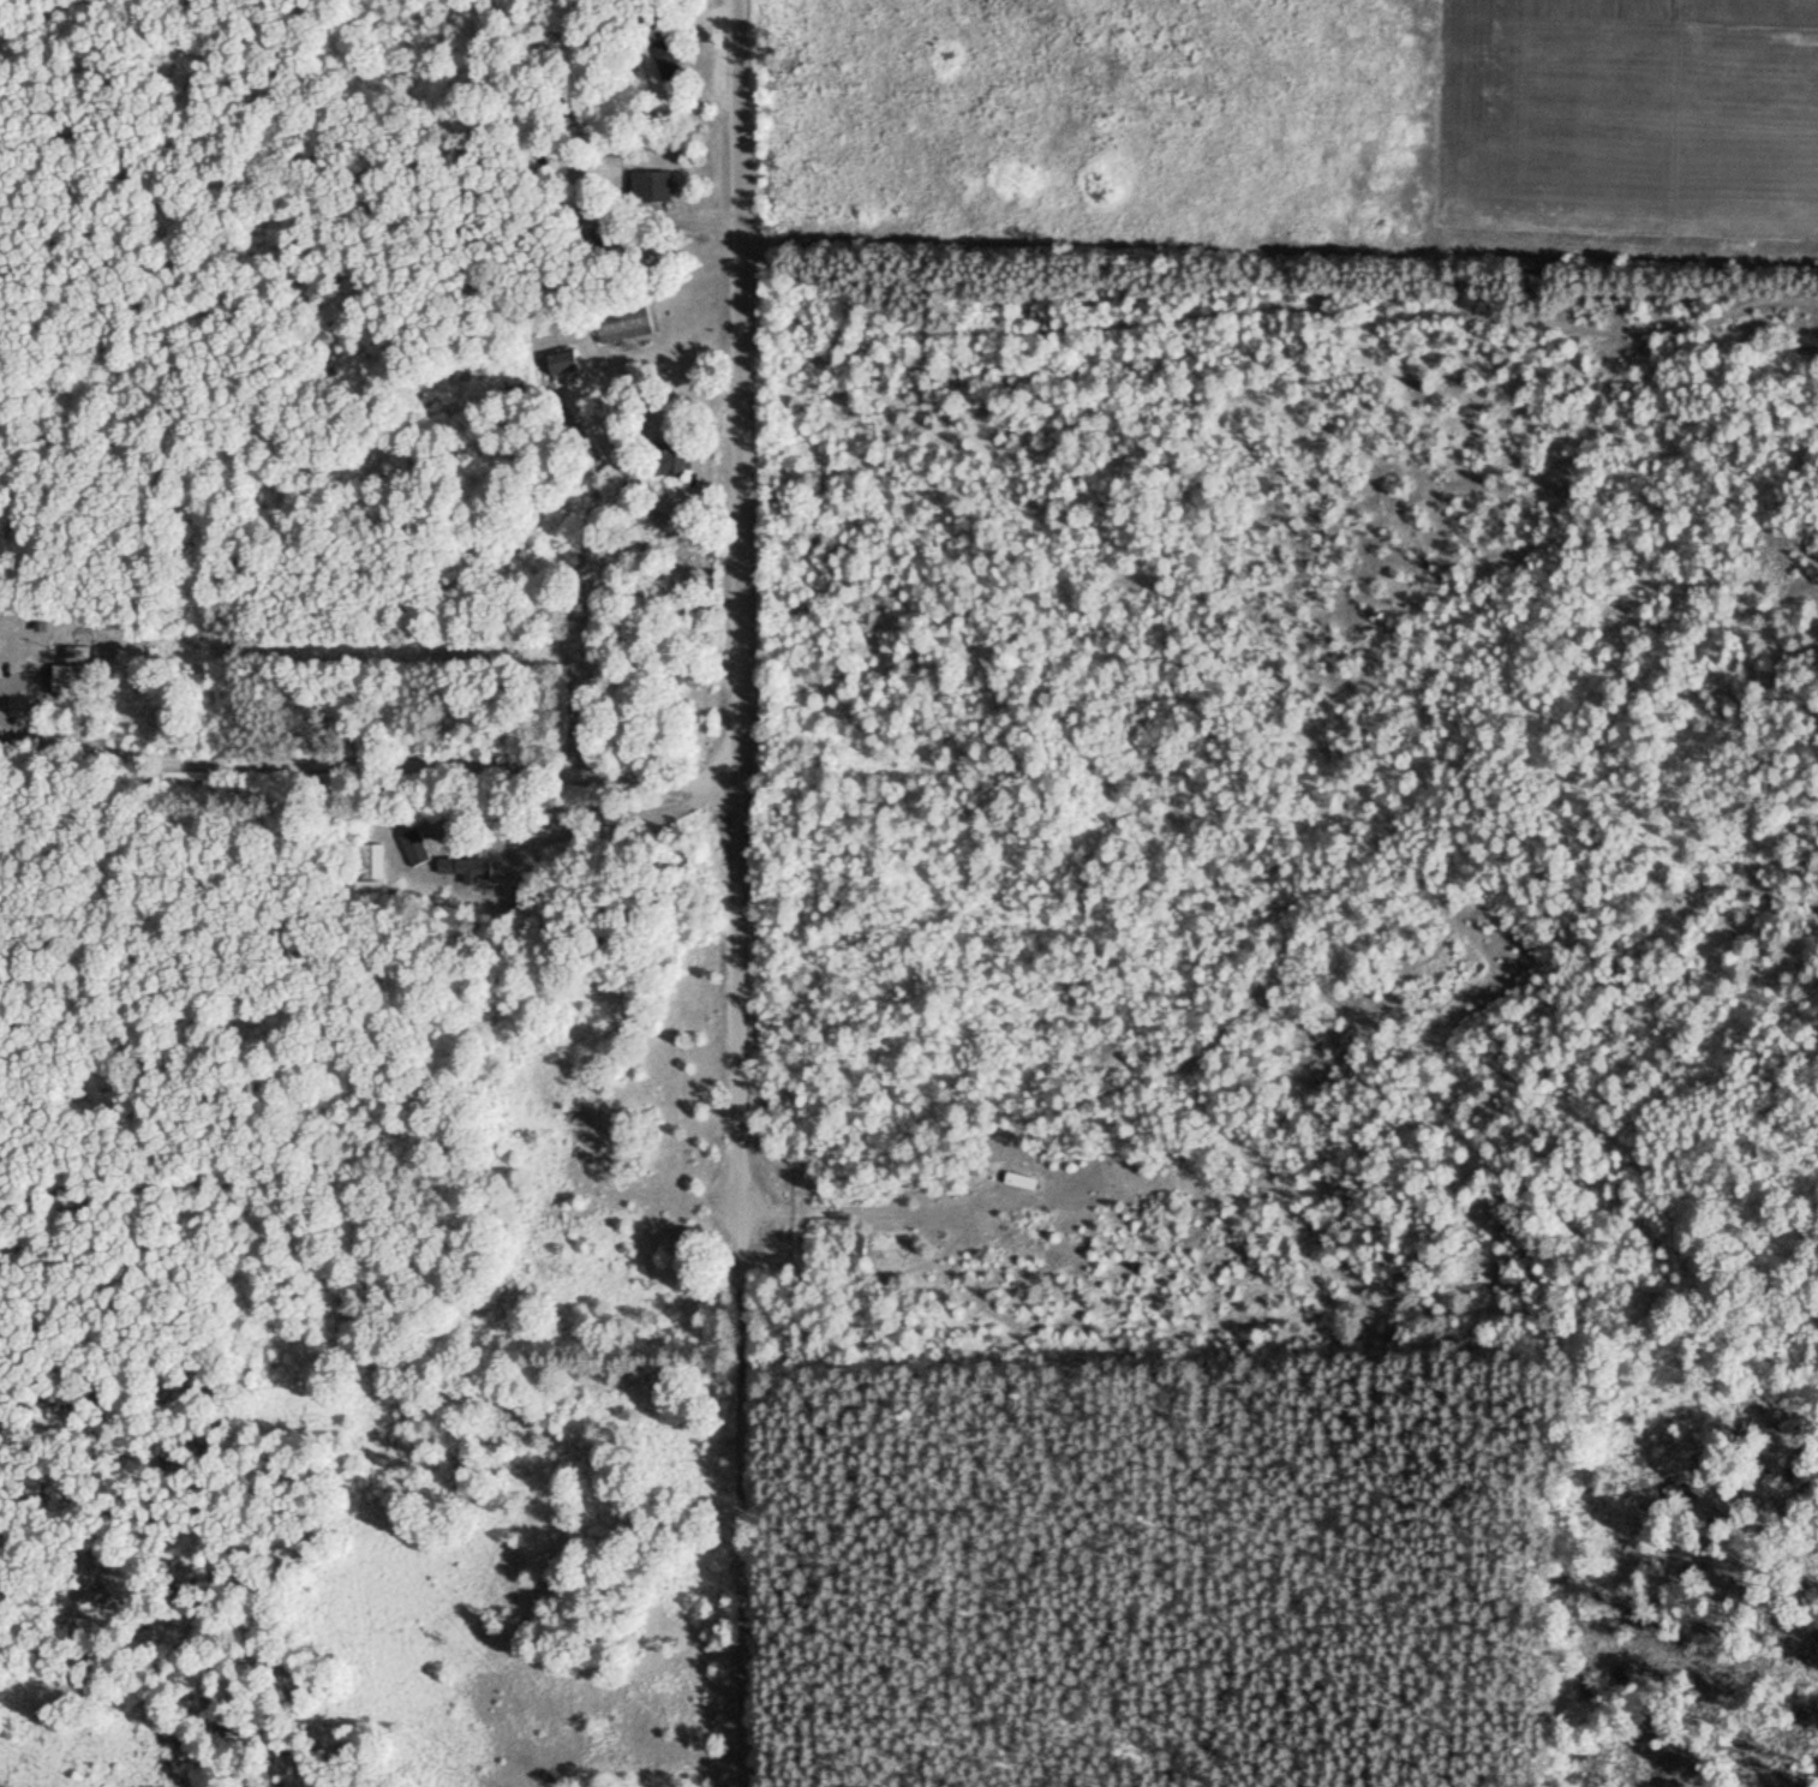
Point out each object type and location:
building: (670, 56)
building: (654, 186)
building: (1544, 282)
building: (627, 319)
building: (567, 361)
building: (677, 461)
road: (731, 610)
building: (73, 677)
road: (364, 760)
building: (417, 845)
building: (471, 867)
building: (372, 868)
road: (738, 1504)

